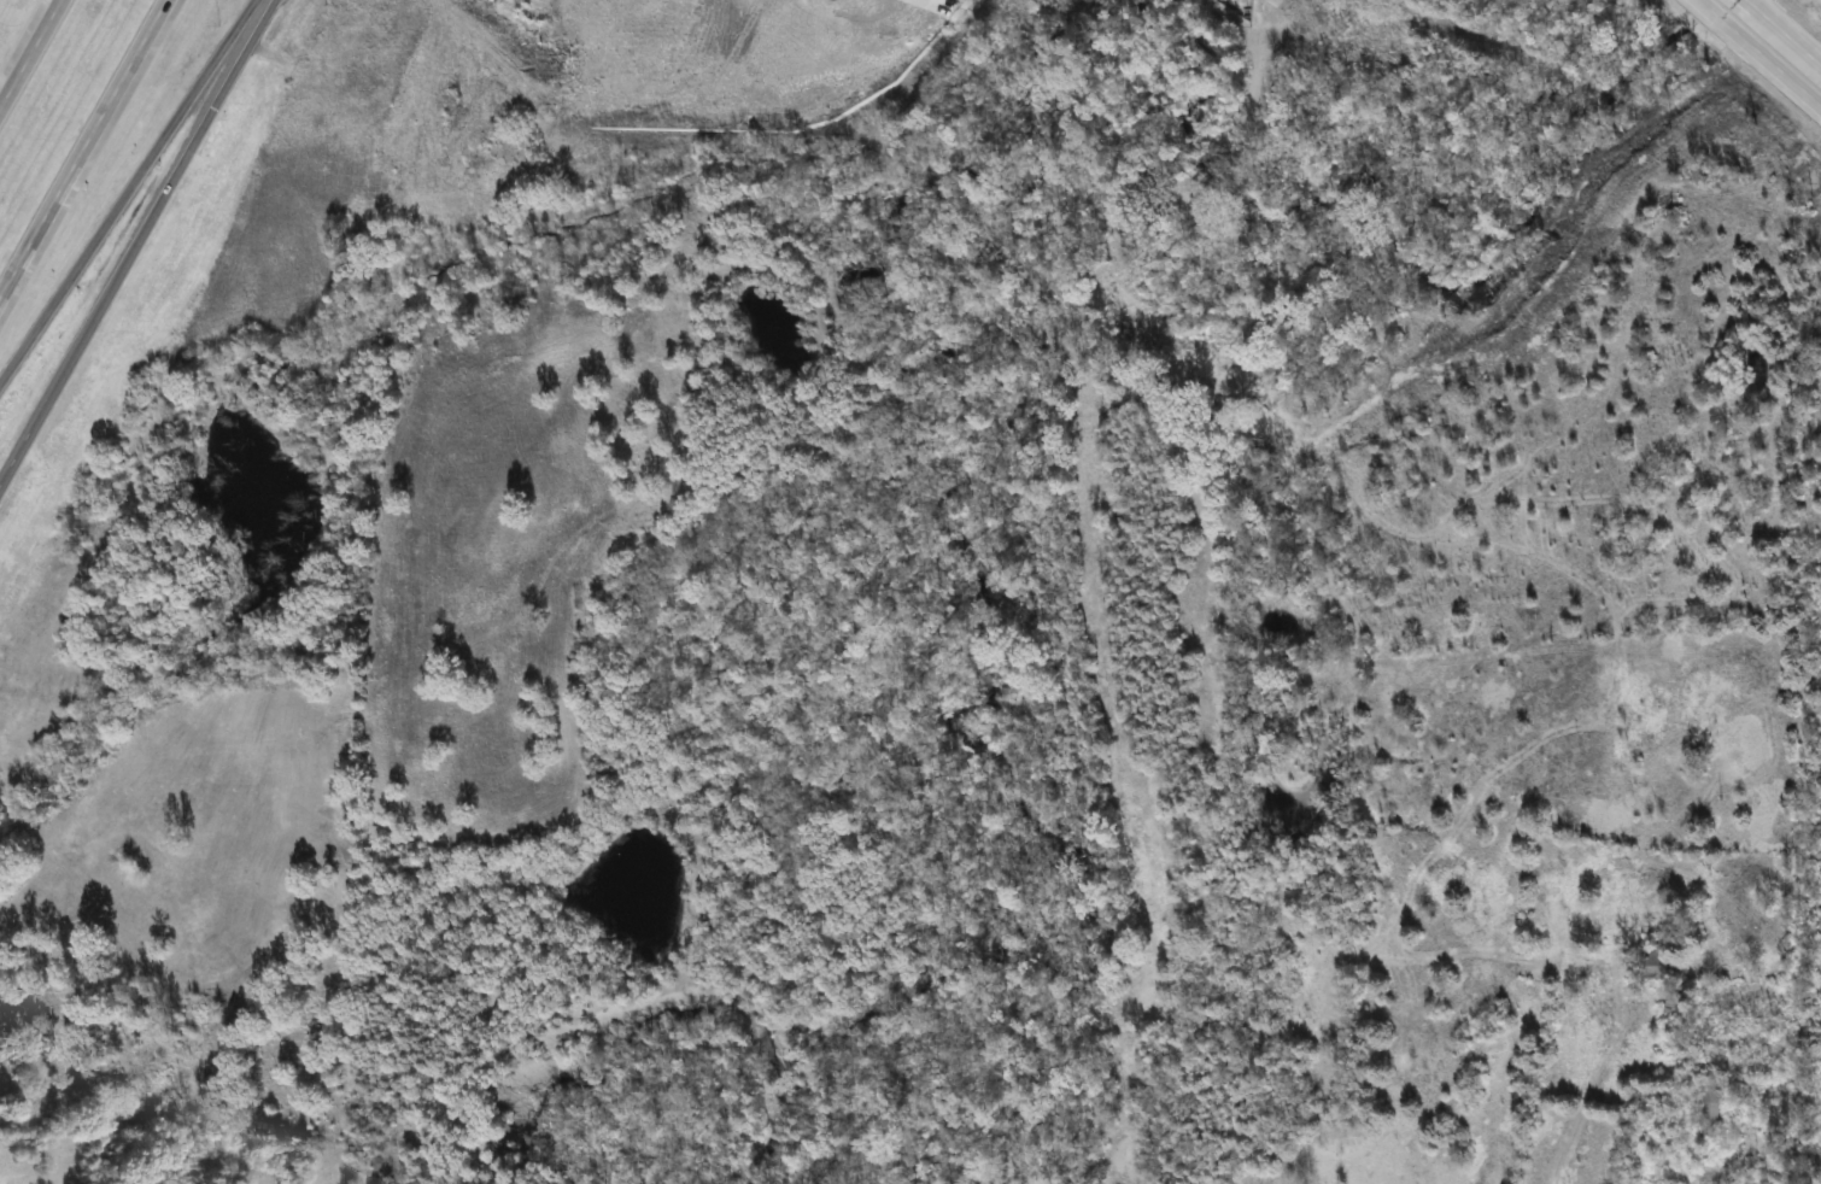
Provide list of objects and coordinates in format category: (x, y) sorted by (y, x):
road: (1784, 33)
road: (1757, 53)
road: (30, 54)
road: (83, 148)
road: (125, 184)
road: (137, 241)

